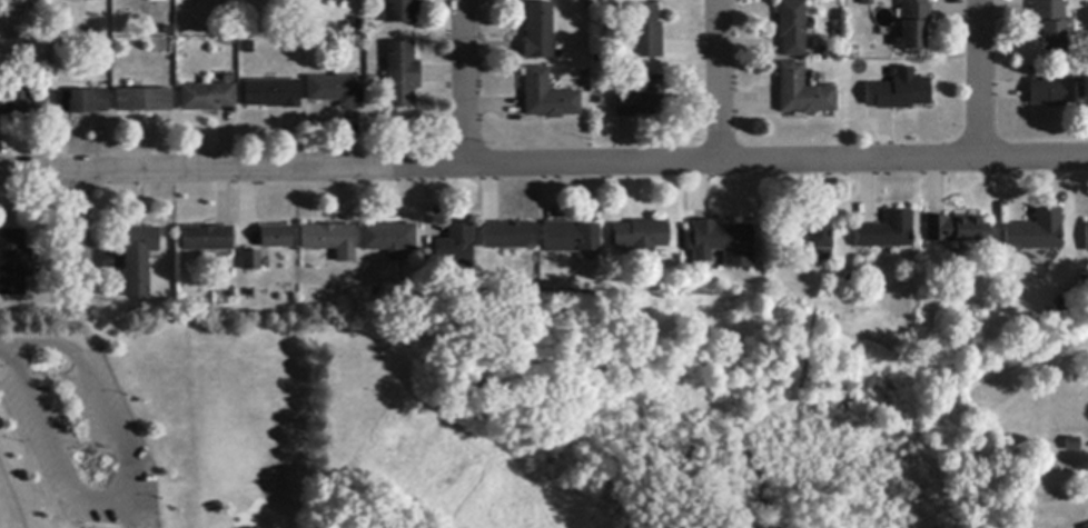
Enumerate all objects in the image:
building: (157, 1)
building: (868, 2)
building: (400, 11)
building: (914, 23)
building: (1049, 24)
building: (791, 28)
building: (540, 32)
building: (645, 34)
building: (400, 76)
road: (981, 79)
road: (720, 81)
road: (465, 83)
building: (337, 91)
building: (803, 92)
building: (899, 92)
building: (1055, 93)
building: (273, 94)
building: (548, 97)
building: (207, 98)
building: (641, 98)
building: (145, 101)
building: (22, 102)
building: (81, 102)
road: (544, 166)
road: (78, 222)
building: (957, 229)
building: (1036, 232)
building: (887, 233)
building: (510, 236)
building: (276, 238)
building: (571, 238)
building: (1087, 238)
building: (209, 239)
building: (389, 239)
building: (641, 239)
building: (813, 239)
building: (330, 240)
building: (716, 240)
building: (456, 249)
building: (139, 260)
building: (251, 261)
building: (14, 263)
road: (61, 323)
road: (61, 339)
road: (6, 347)
road: (101, 401)
park: (482, 422)
building: (1072, 445)
road: (52, 448)
road: (12, 494)
road: (76, 514)
road: (100, 524)
building: (1086, 527)

